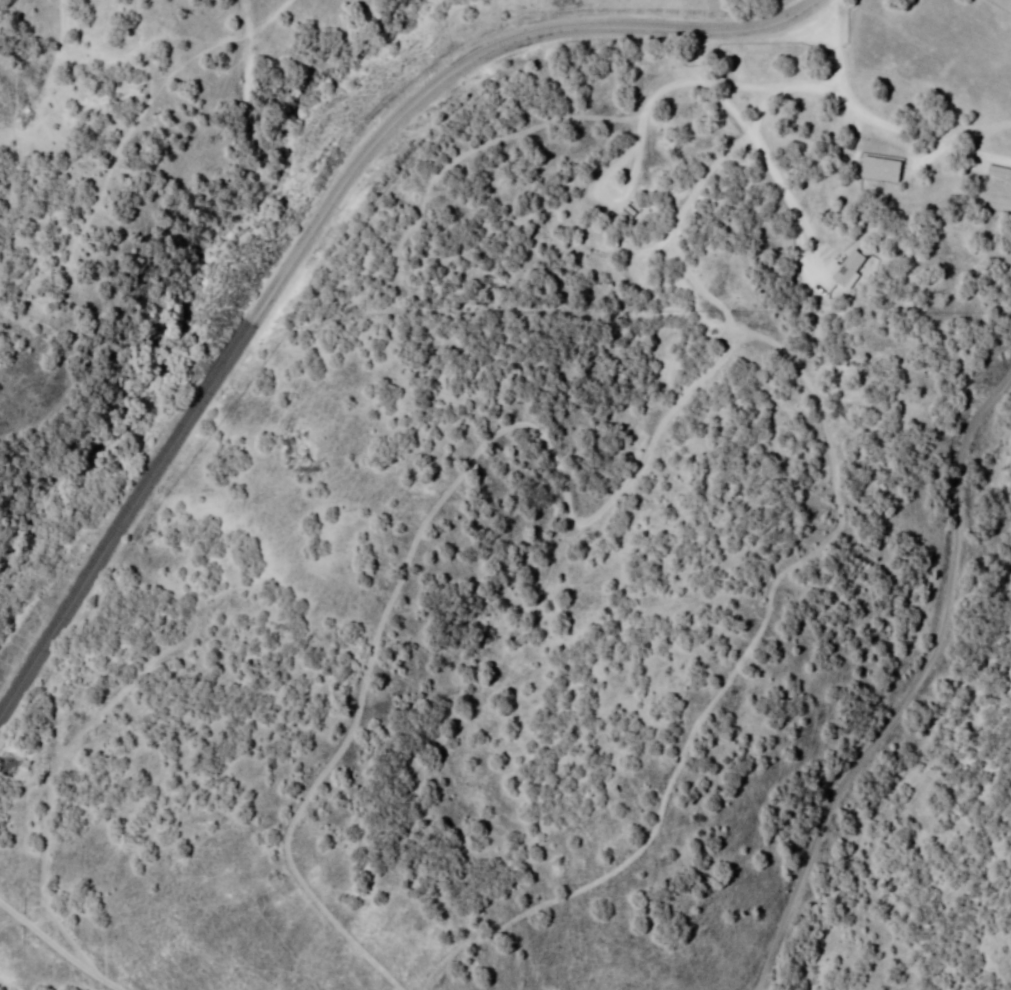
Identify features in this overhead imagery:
road: (485, 58)
building: (882, 168)
building: (999, 171)
building: (849, 269)
road: (125, 508)
road: (914, 684)
road: (63, 946)

